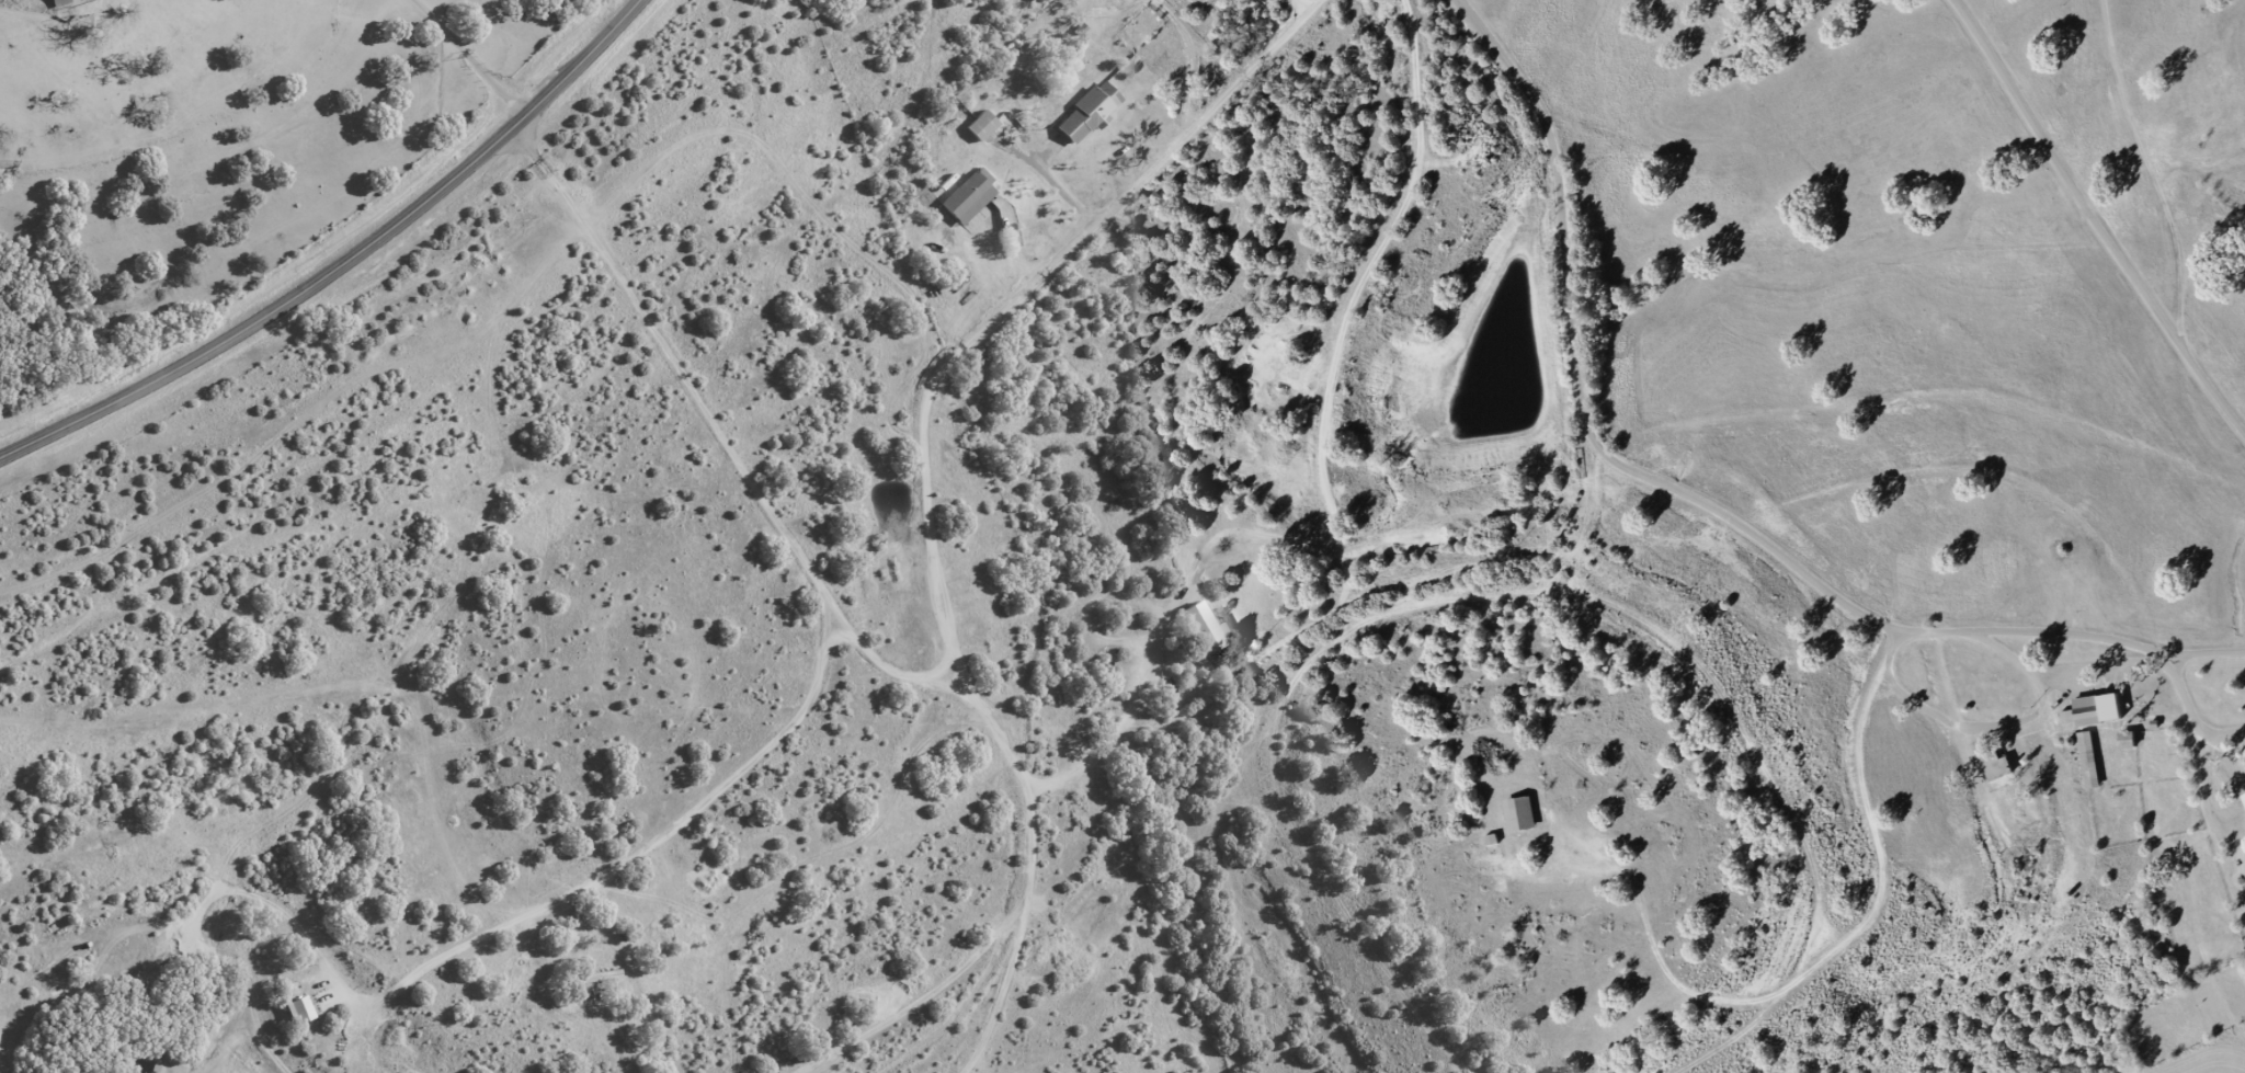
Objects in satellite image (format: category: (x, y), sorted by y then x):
building: (59, 3)
road: (45, 13)
building: (1086, 115)
building: (980, 127)
building: (967, 199)
road: (352, 263)
road: (1581, 286)
road: (710, 411)
building: (1203, 628)
building: (2090, 711)
building: (2126, 741)
building: (2088, 760)
building: (1995, 765)
building: (1519, 814)
road: (864, 825)
road: (962, 954)
road: (812, 981)
building: (594, 983)

